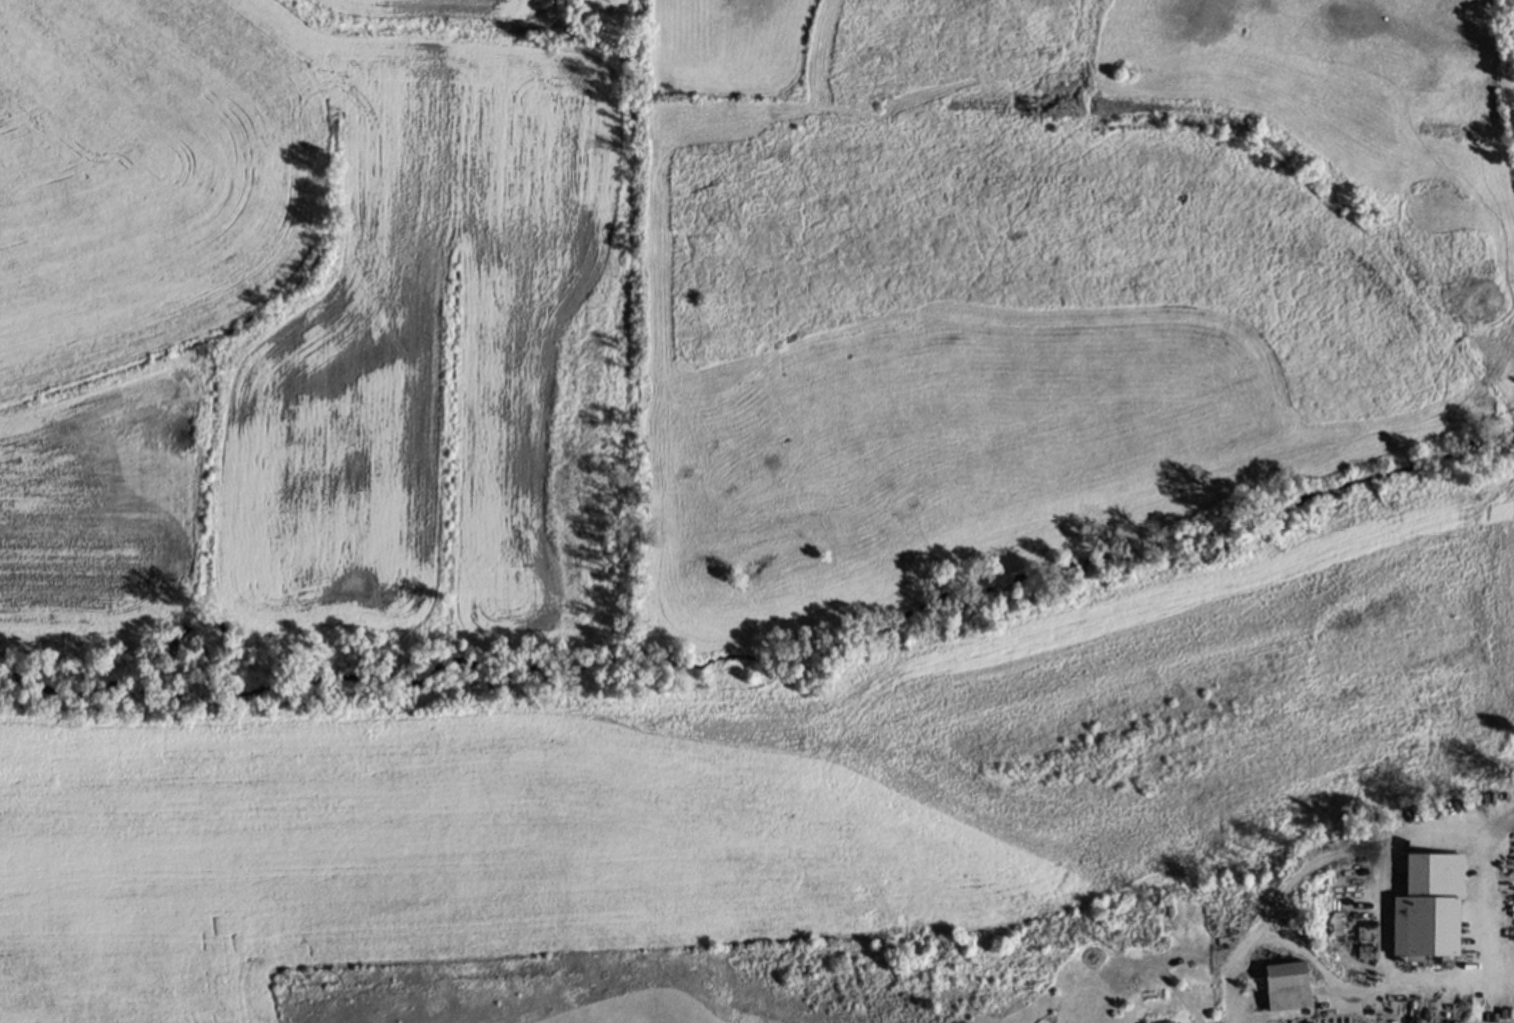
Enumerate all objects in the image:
building: (1429, 904)
road: (1383, 911)
road: (1499, 913)
building: (1288, 984)

